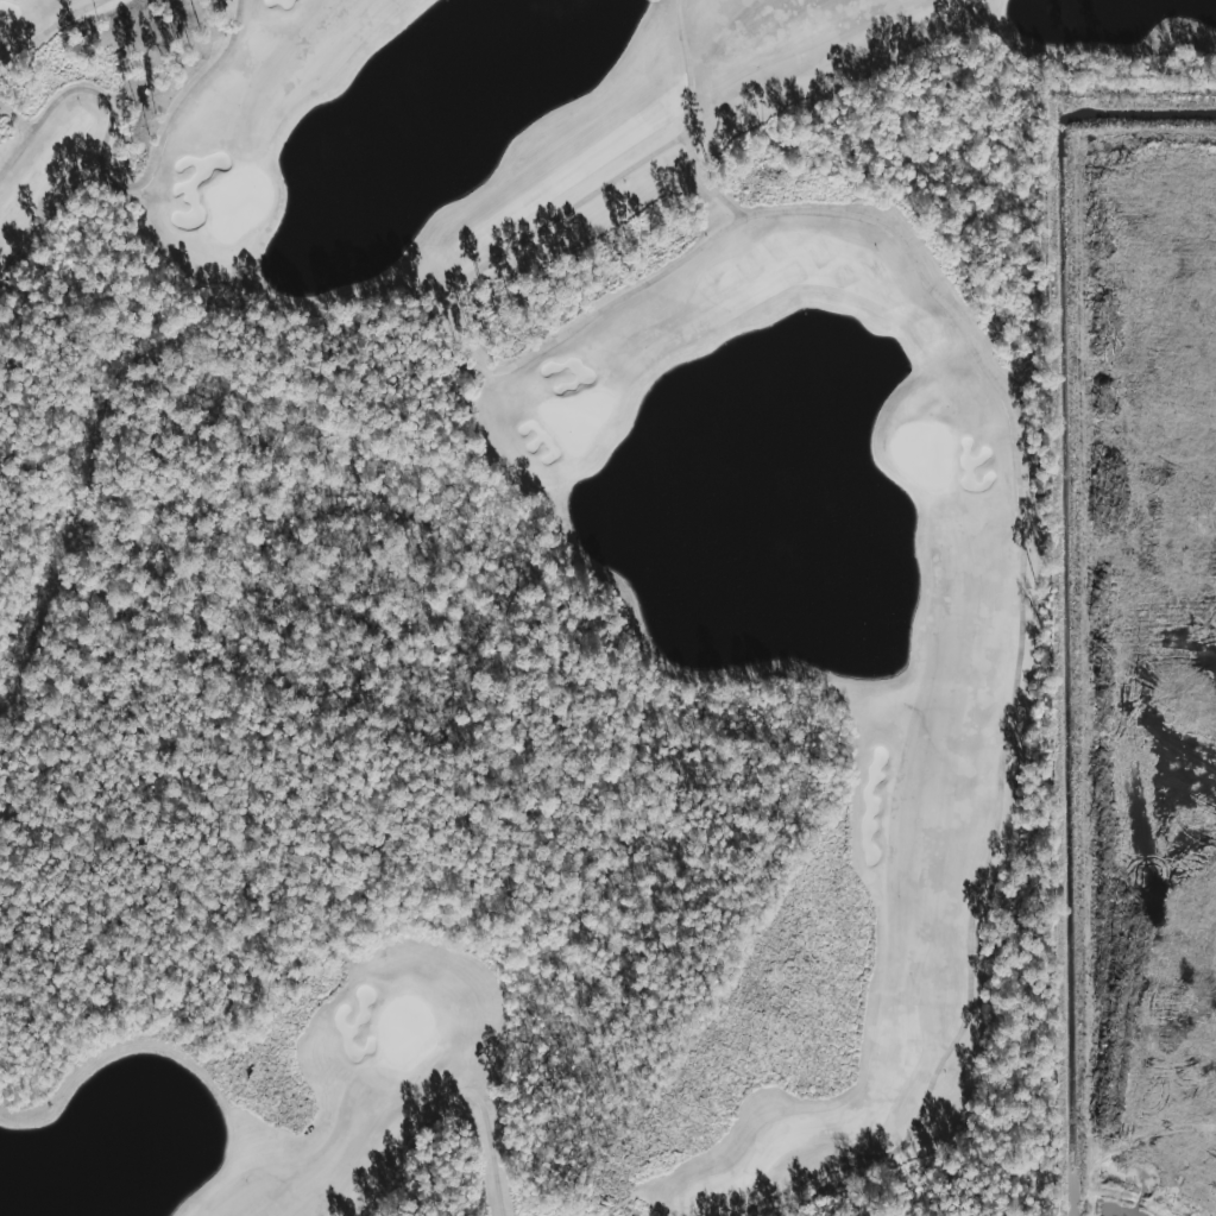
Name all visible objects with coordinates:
road: (686, 71)
building: (0, 118)
road: (544, 233)
road: (636, 285)
road: (962, 344)
park: (527, 604)
park: (527, 604)

